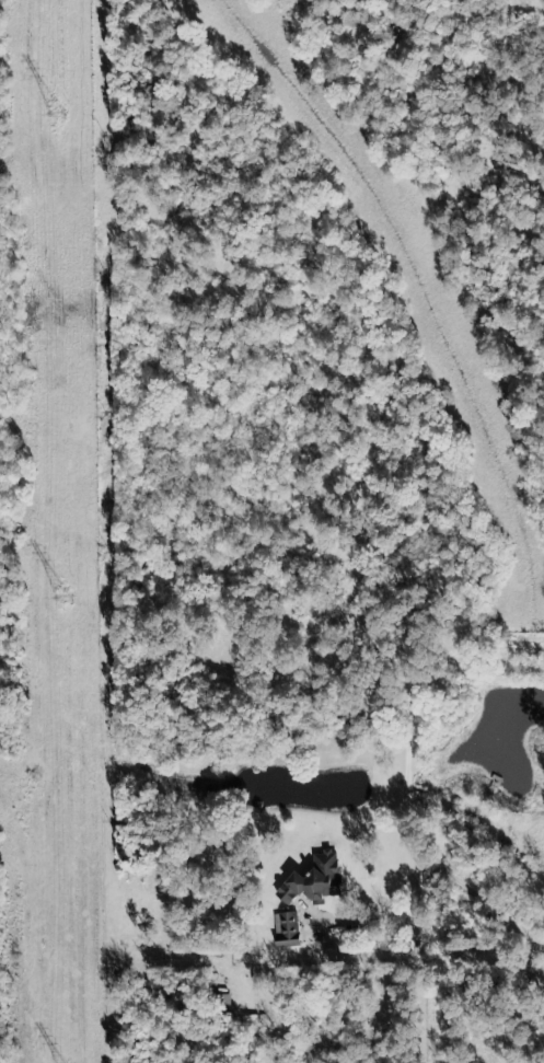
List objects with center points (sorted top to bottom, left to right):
power tower: (59, 116)
power tower: (65, 603)
road: (408, 778)
road: (400, 924)
building: (286, 931)

